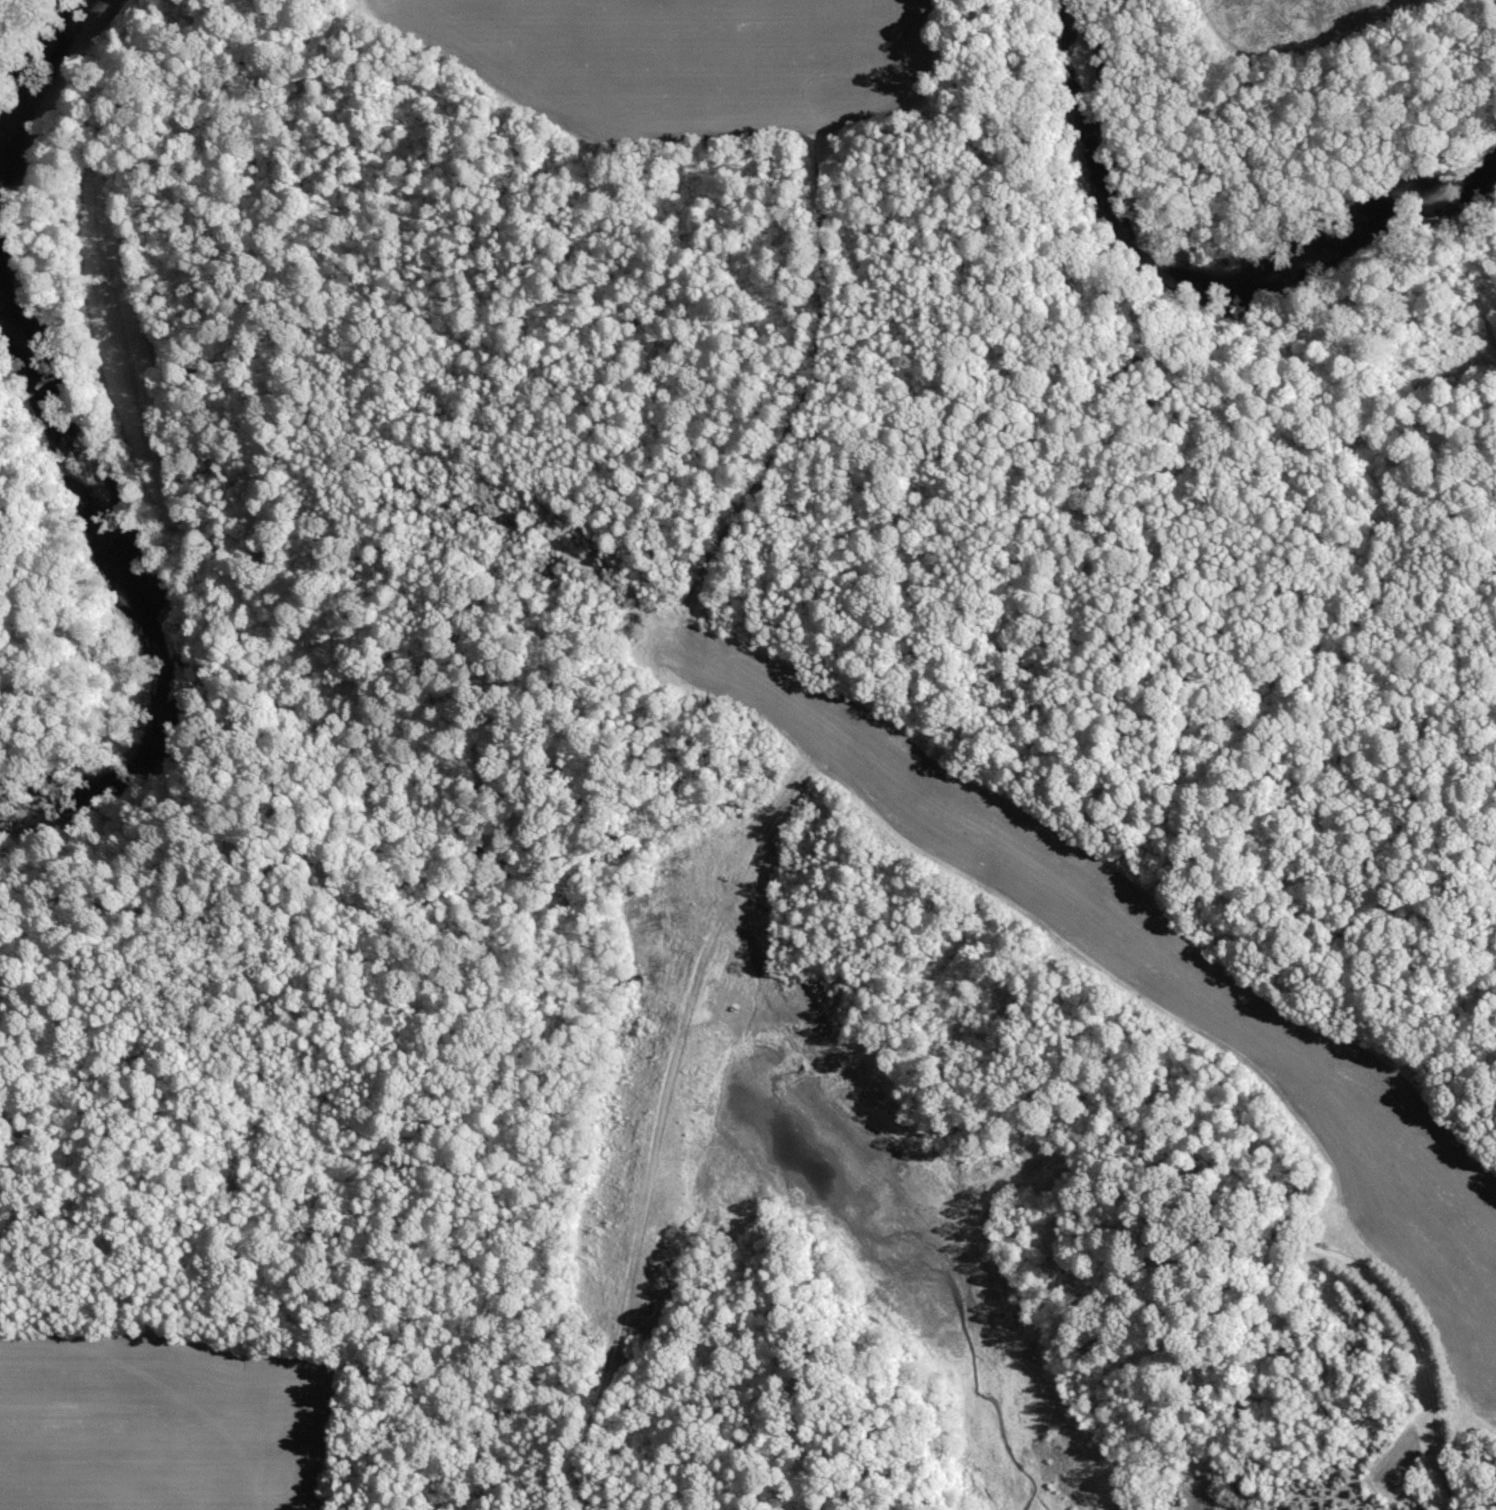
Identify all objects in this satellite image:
road: (1408, 1319)

